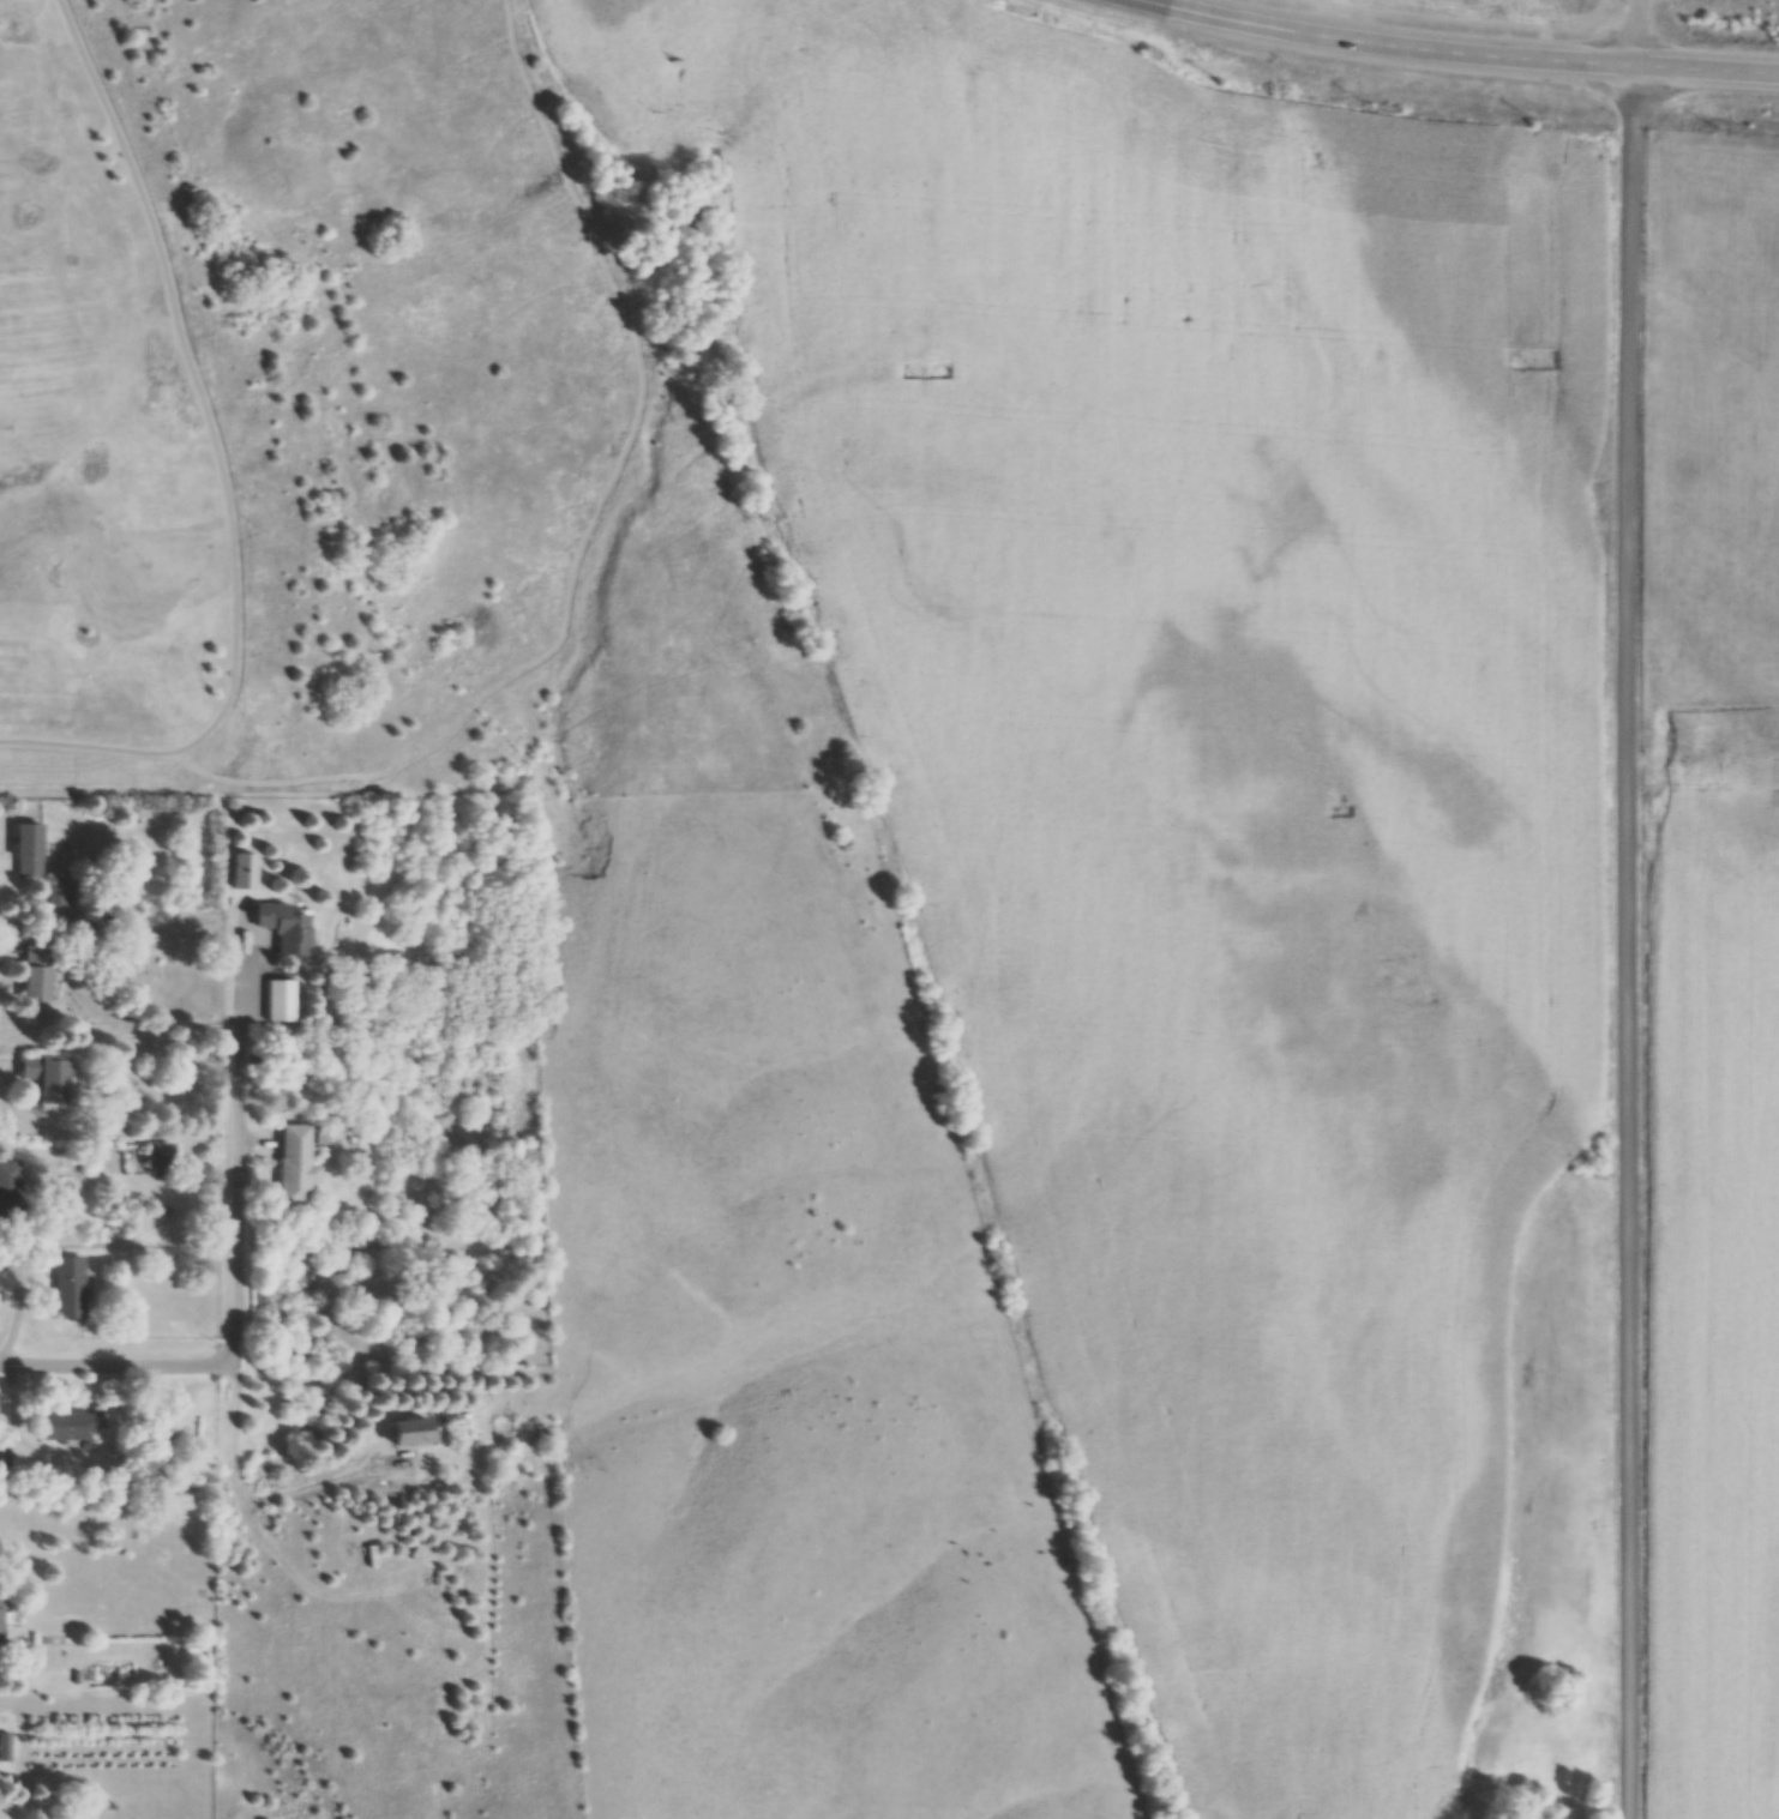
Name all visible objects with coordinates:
road: (1634, 32)
road: (1455, 53)
park: (350, 433)
road: (220, 464)
crop: (1201, 775)
building: (31, 850)
building: (64, 897)
building: (70, 928)
building: (289, 929)
road: (1625, 941)
building: (40, 974)
building: (284, 1002)
building: (49, 1078)
road: (240, 1144)
building: (163, 1157)
building: (299, 1167)
building: (11, 1192)
building: (72, 1288)
crop: (1713, 1312)
road: (126, 1366)
building: (66, 1427)
building: (414, 1434)
building: (5, 1456)
road: (235, 1484)
building: (2, 1618)

